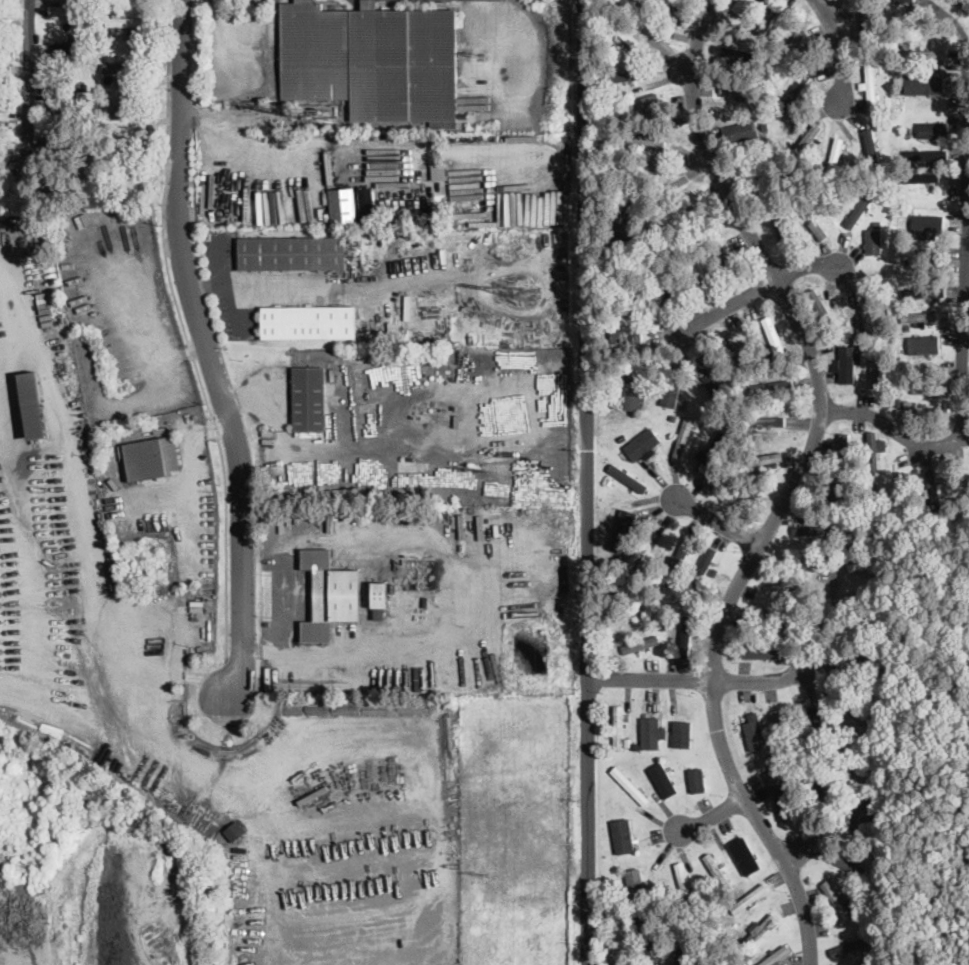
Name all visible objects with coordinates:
building: (902, 1)
building: (742, 6)
building: (69, 10)
road: (215, 10)
building: (635, 12)
building: (670, 12)
building: (773, 19)
building: (864, 20)
building: (127, 22)
road: (948, 28)
building: (104, 30)
building: (84, 35)
building: (625, 35)
building: (752, 45)
building: (795, 46)
road: (838, 48)
power tower: (480, 53)
road: (498, 54)
building: (741, 54)
building: (926, 54)
building: (69, 55)
building: (372, 60)
building: (115, 67)
building: (5, 70)
road: (248, 71)
building: (629, 75)
building: (869, 77)
building: (924, 84)
road: (29, 86)
building: (742, 92)
building: (896, 92)
building: (62, 93)
building: (797, 93)
building: (636, 103)
building: (762, 103)
building: (877, 109)
building: (4, 113)
building: (129, 115)
building: (312, 116)
building: (765, 128)
building: (932, 129)
building: (907, 130)
building: (741, 132)
building: (89, 135)
building: (106, 136)
building: (647, 138)
building: (870, 141)
building: (809, 142)
building: (64, 149)
building: (926, 153)
road: (226, 157)
building: (834, 157)
building: (131, 160)
building: (4, 161)
building: (639, 168)
building: (440, 171)
building: (762, 171)
building: (923, 177)
building: (88, 196)
building: (62, 197)
building: (366, 201)
building: (904, 201)
building: (343, 204)
building: (861, 206)
building: (624, 217)
building: (672, 217)
building: (814, 221)
building: (878, 224)
building: (930, 224)
building: (781, 231)
building: (207, 235)
building: (873, 242)
building: (291, 253)
building: (614, 257)
road: (965, 259)
building: (735, 266)
building: (919, 268)
building: (698, 271)
building: (667, 281)
road: (257, 283)
road: (747, 291)
building: (924, 291)
power tower: (528, 293)
building: (632, 298)
building: (822, 307)
building: (865, 309)
building: (927, 317)
building: (308, 322)
building: (907, 326)
building: (843, 327)
road: (184, 329)
building: (859, 330)
building: (628, 334)
building: (774, 338)
building: (861, 340)
building: (923, 343)
building: (739, 351)
road: (208, 352)
building: (922, 362)
building: (848, 364)
building: (876, 367)
building: (616, 371)
building: (712, 378)
building: (905, 380)
building: (773, 386)
building: (926, 388)
building: (672, 390)
building: (634, 392)
building: (903, 392)
building: (368, 397)
building: (309, 398)
building: (356, 399)
building: (898, 402)
building: (682, 404)
building: (33, 406)
road: (837, 410)
building: (918, 413)
building: (672, 418)
building: (764, 421)
building: (622, 436)
building: (682, 437)
building: (642, 443)
road: (914, 443)
building: (844, 449)
building: (748, 452)
building: (873, 452)
building: (709, 453)
building: (151, 458)
building: (764, 459)
power tower: (481, 473)
building: (862, 473)
building: (123, 476)
building: (627, 477)
building: (609, 480)
road: (587, 482)
road: (793, 484)
building: (741, 485)
building: (932, 487)
building: (743, 494)
building: (901, 494)
building: (838, 495)
building: (417, 518)
road: (711, 519)
building: (624, 523)
building: (813, 529)
building: (681, 555)
building: (863, 561)
building: (703, 568)
building: (639, 572)
building: (670, 584)
building: (790, 584)
building: (379, 595)
building: (330, 596)
building: (863, 598)
building: (639, 614)
building: (773, 618)
road: (282, 621)
building: (663, 627)
building: (797, 629)
building: (885, 630)
building: (857, 631)
building: (686, 636)
building: (635, 646)
road: (326, 651)
building: (761, 653)
building: (861, 664)
road: (706, 678)
building: (877, 702)
building: (857, 713)
building: (819, 722)
building: (618, 727)
building: (780, 730)
building: (754, 731)
building: (650, 732)
building: (681, 733)
building: (626, 743)
building: (802, 744)
building: (637, 746)
building: (761, 753)
building: (772, 756)
building: (790, 761)
building: (838, 761)
building: (663, 779)
building: (697, 781)
building: (630, 786)
building: (820, 786)
building: (780, 793)
building: (874, 798)
building: (860, 811)
road: (709, 813)
landfill: (509, 828)
building: (235, 832)
building: (622, 834)
building: (741, 851)
park: (930, 851)
building: (857, 858)
building: (850, 866)
landfill: (97, 868)
building: (718, 872)
power tower: (483, 873)
building: (635, 886)
building: (684, 886)
building: (698, 895)
building: (749, 898)
building: (836, 900)
building: (624, 910)
building: (673, 924)
building: (761, 929)
road: (17, 933)
building: (651, 936)
building: (684, 943)
building: (852, 945)
building: (609, 947)
building: (711, 948)
building: (776, 956)
building: (618, 962)
building: (865, 962)

